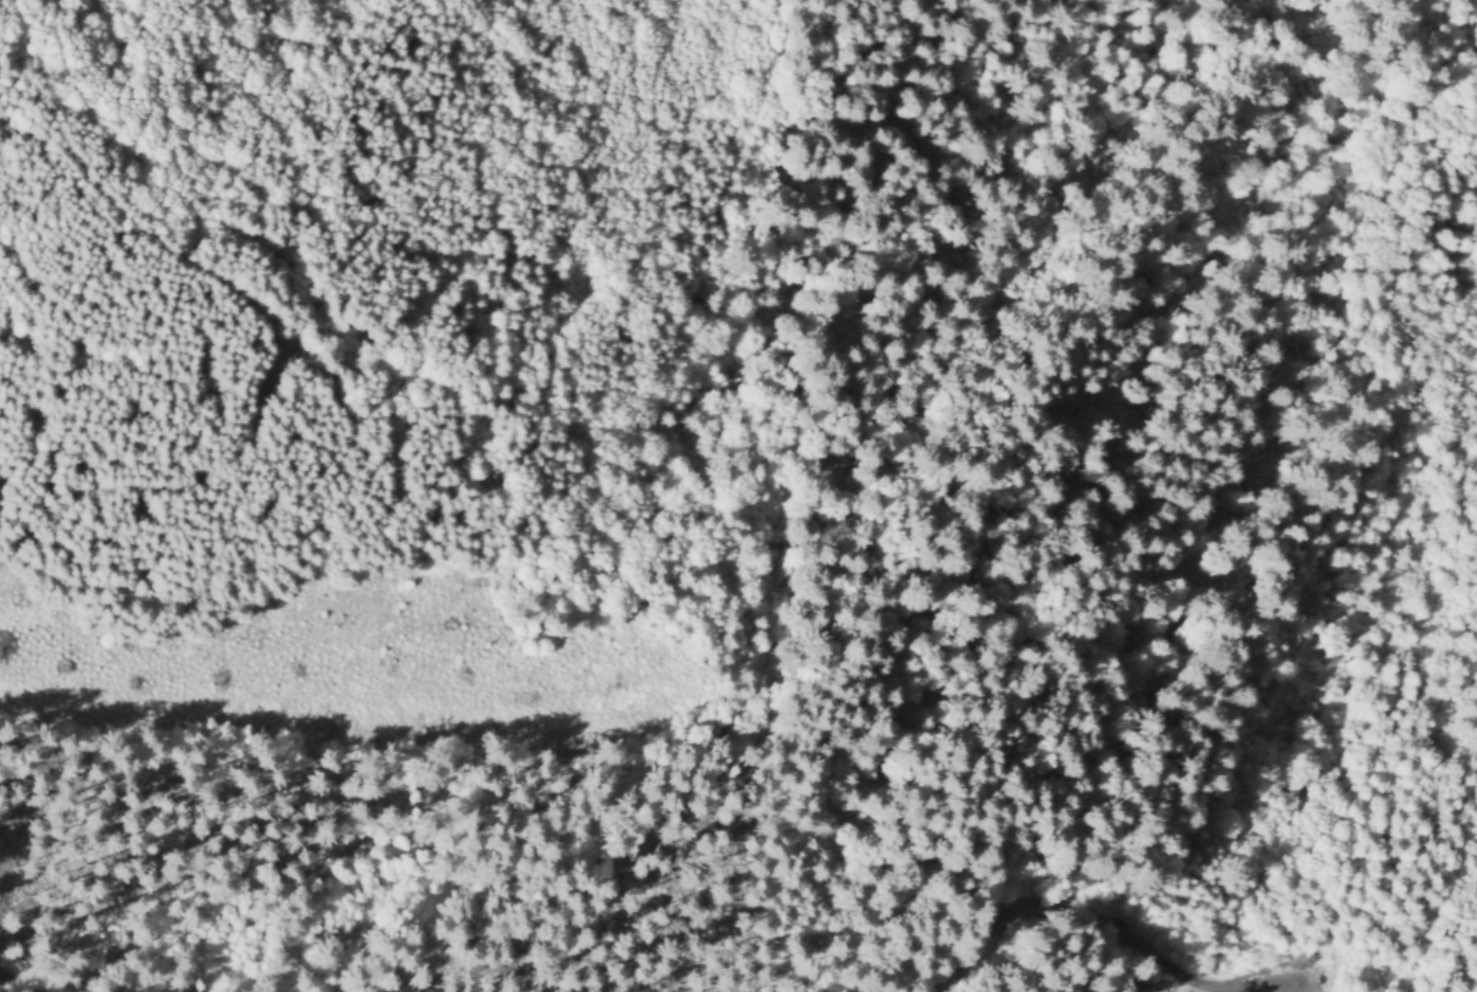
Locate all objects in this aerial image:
road: (18, 979)

